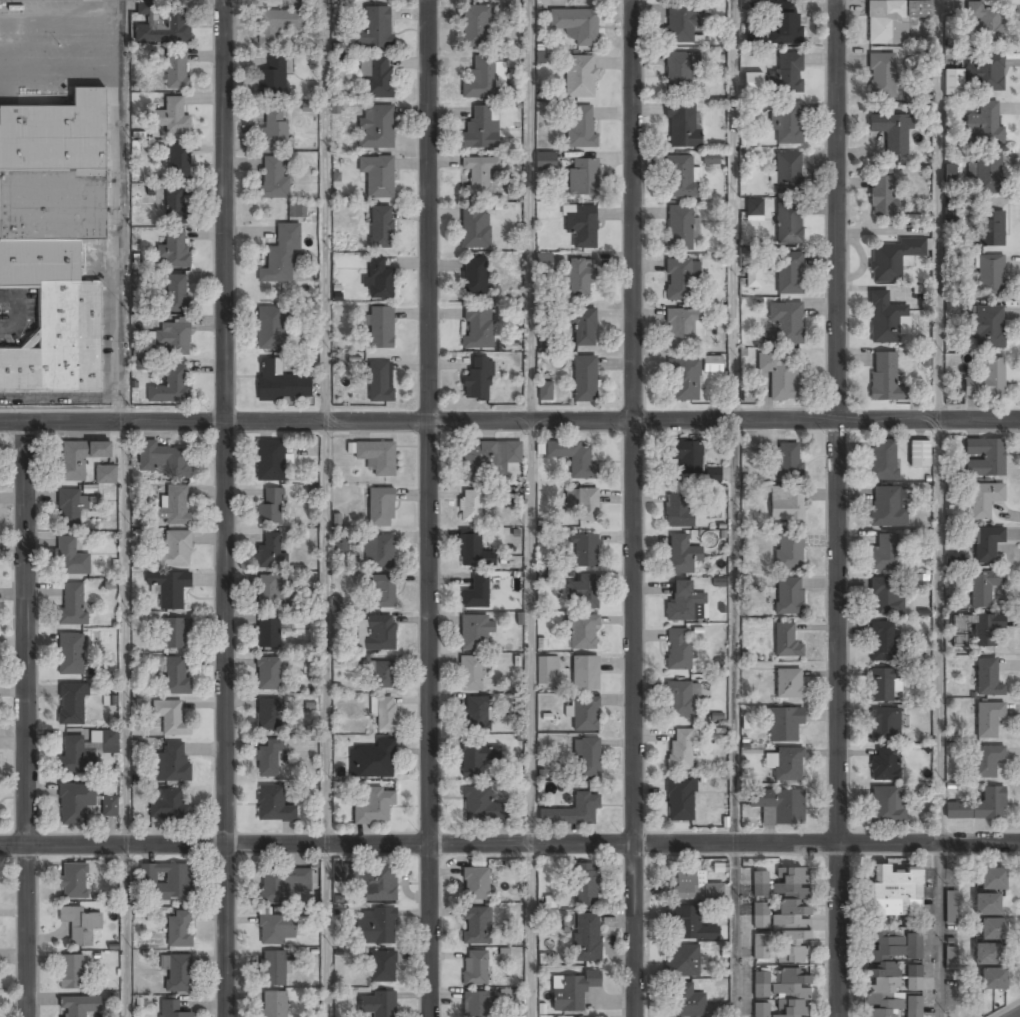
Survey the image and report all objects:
building: (892, 20)
building: (983, 21)
building: (680, 24)
building: (785, 24)
building: (575, 25)
building: (163, 26)
building: (276, 26)
building: (475, 26)
building: (374, 28)
building: (173, 70)
building: (679, 71)
building: (984, 72)
building: (787, 73)
building: (882, 75)
building: (580, 76)
building: (376, 77)
building: (272, 78)
building: (480, 79)
building: (753, 81)
building: (953, 81)
building: (308, 107)
building: (171, 117)
building: (786, 123)
building: (985, 124)
building: (375, 127)
building: (681, 127)
building: (580, 128)
building: (273, 129)
building: (480, 129)
building: (892, 133)
building: (711, 158)
building: (179, 162)
building: (787, 170)
building: (950, 172)
building: (987, 173)
building: (377, 175)
building: (479, 175)
building: (679, 177)
building: (274, 178)
building: (583, 178)
building: (883, 196)
building: (174, 207)
building: (754, 208)
building: (296, 210)
building: (788, 224)
building: (580, 225)
building: (381, 227)
building: (681, 228)
building: (989, 228)
building: (475, 231)
building: (53, 238)
building: (174, 250)
building: (280, 256)
building: (892, 259)
building: (544, 261)
building: (788, 273)
building: (989, 275)
building: (474, 277)
building: (753, 278)
building: (378, 279)
building: (578, 279)
building: (680, 279)
building: (176, 293)
building: (884, 319)
building: (783, 324)
building: (582, 326)
building: (380, 327)
building: (478, 327)
building: (985, 327)
building: (271, 328)
building: (681, 328)
building: (173, 338)
building: (712, 363)
building: (779, 375)
building: (884, 377)
building: (584, 379)
building: (684, 380)
building: (380, 381)
building: (477, 381)
building: (986, 382)
building: (281, 385)
building: (171, 387)
building: (544, 392)
road: (939, 421)
road: (510, 422)
building: (686, 455)
building: (919, 455)
building: (375, 456)
building: (573, 457)
building: (985, 457)
building: (79, 458)
building: (488, 459)
building: (163, 460)
building: (883, 460)
building: (269, 461)
building: (788, 462)
building: (105, 475)
building: (713, 476)
building: (509, 493)
building: (983, 499)
building: (585, 503)
building: (786, 505)
building: (887, 506)
building: (174, 507)
building: (470, 507)
building: (70, 508)
road: (123, 508)
road: (226, 508)
building: (270, 508)
road: (325, 508)
building: (381, 508)
road: (429, 508)
road: (529, 508)
road: (633, 508)
road: (732, 508)
road: (840, 508)
building: (679, 511)
building: (986, 544)
building: (175, 549)
building: (270, 551)
building: (378, 551)
building: (585, 551)
building: (473, 552)
building: (788, 553)
building: (885, 553)
building: (681, 555)
building: (71, 558)
building: (954, 559)
building: (169, 588)
building: (983, 588)
building: (270, 591)
building: (584, 591)
building: (382, 592)
building: (476, 594)
building: (887, 595)
building: (788, 596)
building: (685, 602)
building: (73, 604)
building: (980, 628)
building: (583, 632)
building: (175, 633)
building: (380, 633)
building: (475, 633)
building: (268, 634)
building: (786, 641)
building: (882, 641)
building: (677, 650)
building: (71, 654)
building: (545, 669)
building: (585, 673)
building: (268, 674)
building: (471, 674)
building: (176, 675)
building: (382, 675)
building: (987, 679)
building: (788, 684)
building: (881, 686)
building: (679, 700)
building: (71, 705)
building: (384, 714)
building: (583, 714)
building: (268, 715)
building: (476, 715)
building: (170, 718)
road: (27, 719)
building: (988, 720)
building: (784, 724)
building: (884, 724)
building: (680, 750)
building: (74, 756)
building: (587, 756)
building: (477, 759)
building: (268, 760)
building: (372, 761)
building: (987, 761)
building: (172, 763)
building: (885, 764)
building: (786, 765)
building: (679, 801)
building: (74, 803)
building: (110, 805)
building: (168, 805)
building: (478, 805)
building: (273, 806)
building: (374, 806)
building: (778, 806)
building: (885, 807)
building: (979, 807)
building: (572, 812)
road: (509, 845)
building: (343, 877)
building: (992, 880)
building: (73, 881)
building: (165, 882)
building: (283, 883)
building: (476, 884)
building: (378, 885)
building: (585, 885)
building: (760, 885)
building: (693, 887)
building: (893, 892)
building: (987, 905)
building: (950, 907)
building: (686, 925)
building: (77, 926)
building: (476, 926)
building: (376, 927)
building: (179, 929)
building: (276, 930)
road: (939, 930)
building: (992, 930)
building: (586, 938)
building: (785, 945)
building: (760, 947)
building: (987, 954)
building: (681, 962)
building: (382, 967)
building: (274, 969)
building: (475, 969)
building: (71, 972)
building: (177, 972)
building: (889, 973)
building: (914, 979)
building: (993, 980)
building: (571, 991)
building: (686, 1001)
building: (274, 1004)
building: (377, 1004)
building: (477, 1005)
building: (78, 1006)
building: (173, 1009)
road: (1017, 1015)

